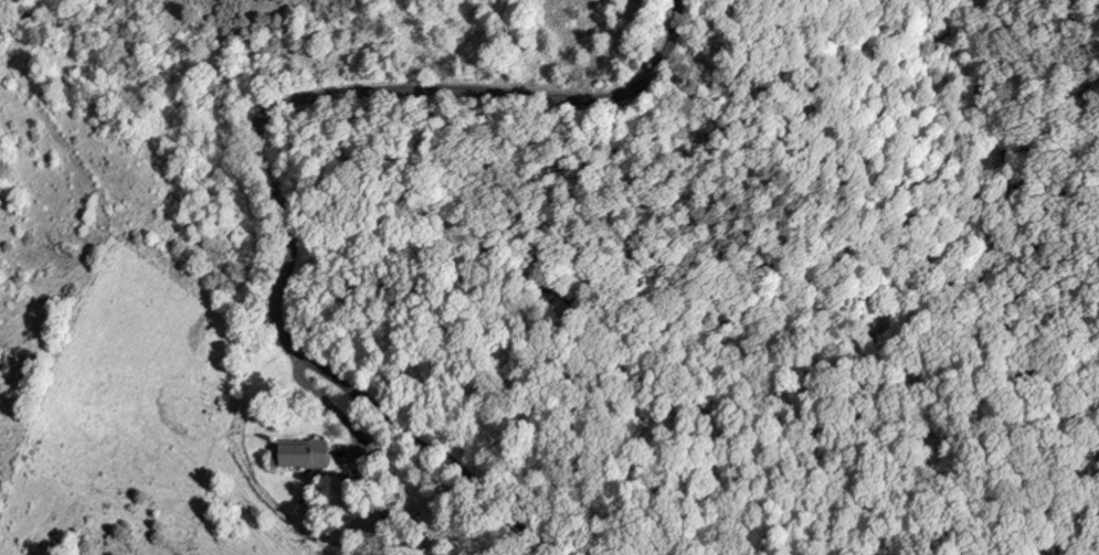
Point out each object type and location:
road: (274, 164)
building: (303, 456)
building: (367, 523)

